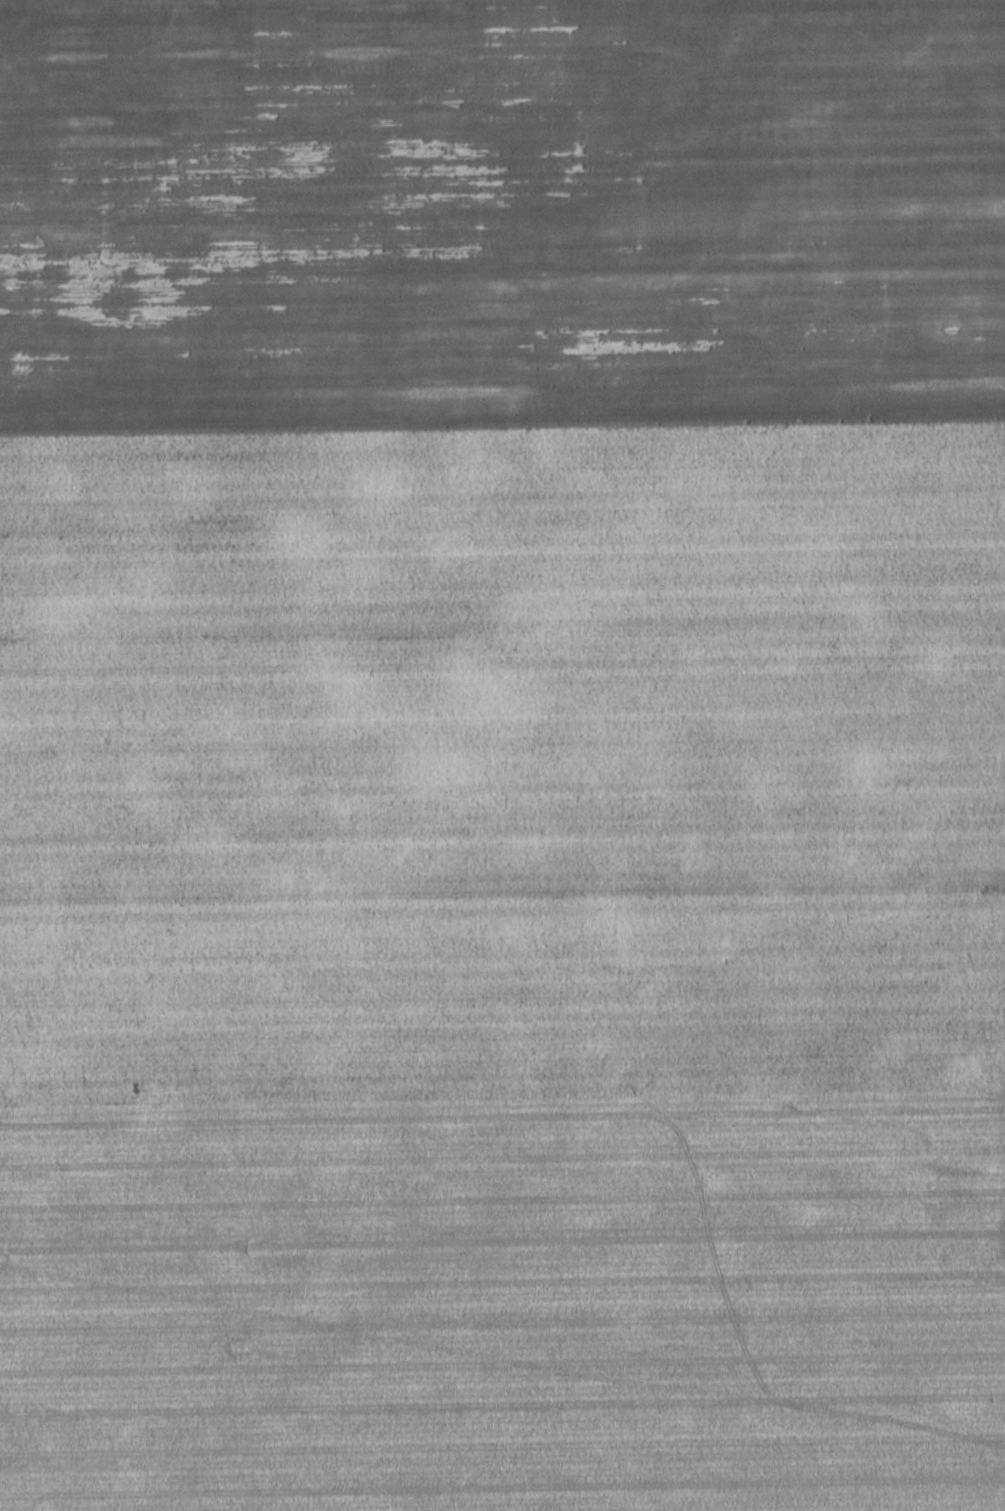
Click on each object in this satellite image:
crop: (502, 755)

